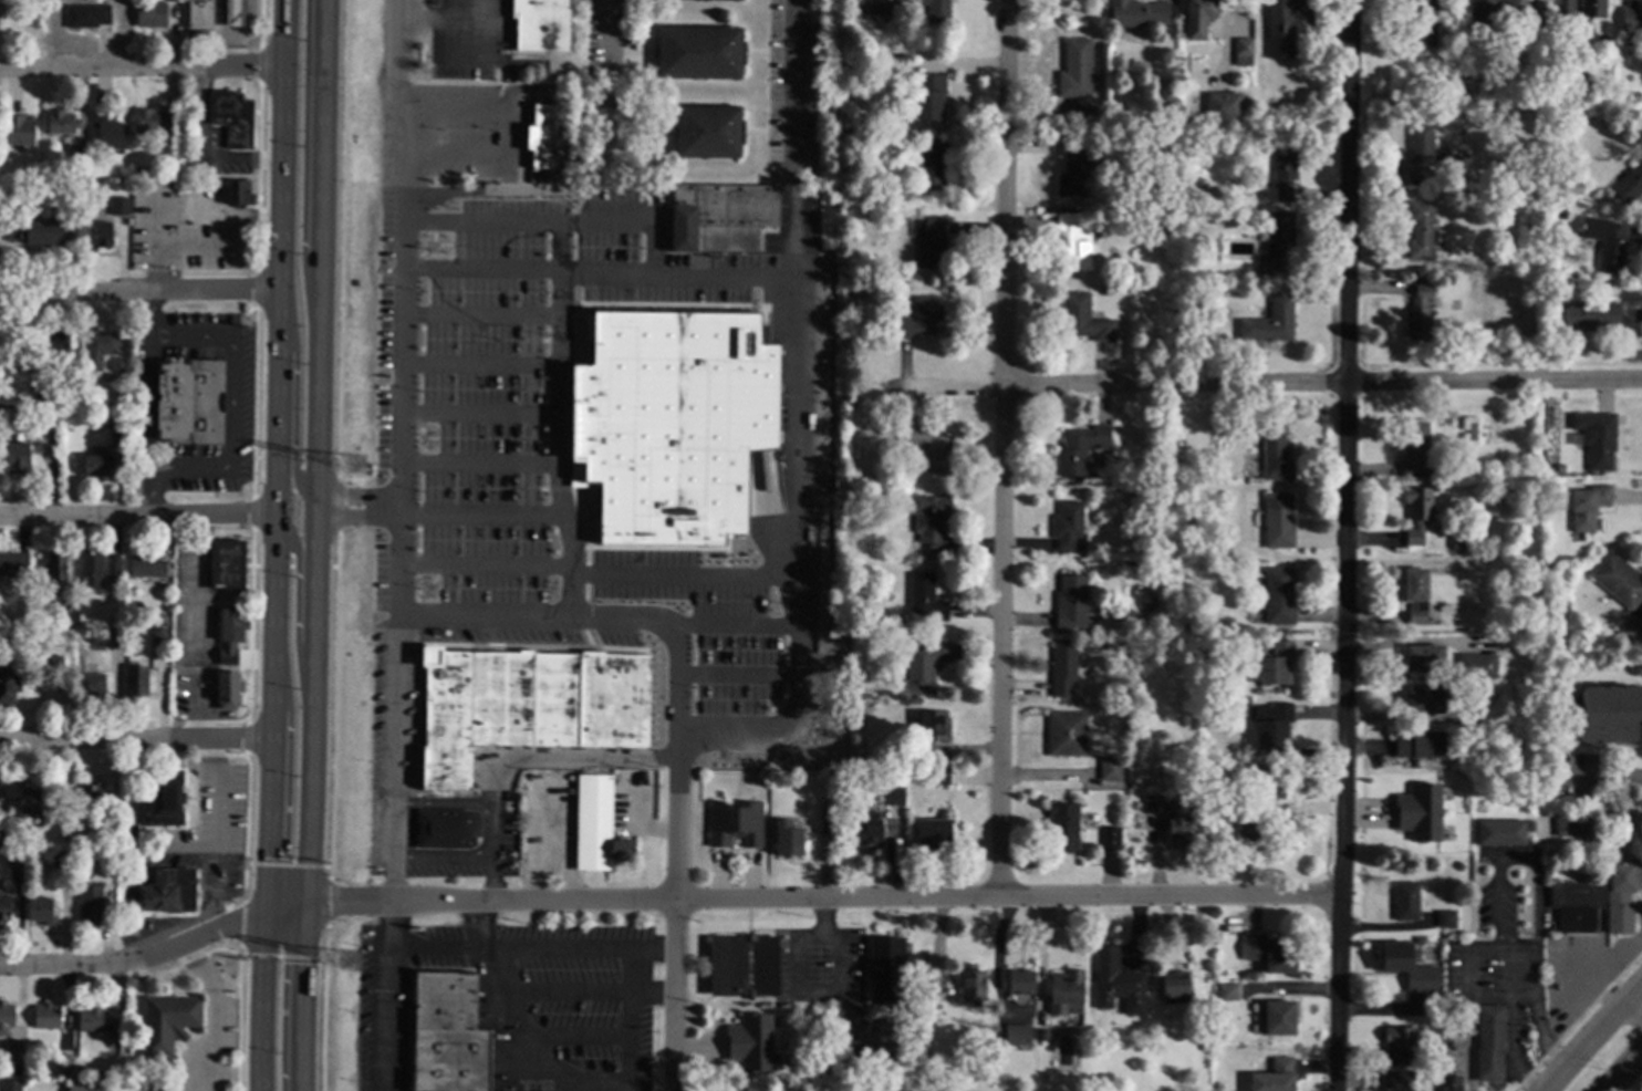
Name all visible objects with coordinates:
building: (728, 0)
building: (872, 7)
building: (1563, 7)
building: (1592, 8)
building: (937, 11)
road: (440, 12)
building: (1137, 12)
building: (1489, 12)
building: (149, 13)
building: (199, 13)
building: (235, 13)
building: (86, 15)
building: (1631, 15)
building: (1197, 17)
building: (1535, 17)
road: (418, 23)
building: (540, 23)
building: (1422, 24)
building: (1279, 29)
road: (221, 32)
building: (630, 39)
road: (395, 41)
parking lot: (467, 41)
road: (606, 50)
building: (698, 52)
building: (1243, 52)
road: (476, 55)
building: (1184, 60)
building: (855, 64)
road: (142, 65)
road: (259, 65)
building: (1075, 69)
building: (929, 96)
building: (1636, 97)
building: (1164, 104)
building: (1224, 105)
building: (231, 116)
building: (153, 121)
building: (60, 122)
building: (1172, 123)
building: (18, 128)
building: (107, 129)
building: (707, 131)
road: (503, 135)
building: (543, 135)
road: (798, 137)
building: (1423, 152)
building: (79, 157)
road: (302, 157)
building: (929, 163)
building: (1077, 168)
building: (145, 169)
building: (1531, 169)
building: (42, 172)
building: (1284, 173)
road: (560, 178)
building: (1629, 184)
building: (239, 193)
building: (1256, 195)
building: (1525, 201)
building: (118, 207)
building: (1173, 211)
building: (1559, 211)
building: (718, 217)
road: (554, 221)
building: (1258, 225)
building: (427, 226)
building: (41, 227)
building: (105, 229)
building: (1421, 230)
building: (927, 240)
building: (1279, 241)
building: (1074, 242)
road: (561, 247)
building: (1611, 249)
road: (279, 257)
road: (481, 270)
building: (1259, 270)
road: (679, 272)
building: (841, 278)
road: (256, 289)
road: (138, 292)
road: (403, 298)
building: (1418, 312)
road: (232, 314)
road: (481, 315)
building: (1590, 315)
road: (152, 316)
building: (922, 316)
building: (1084, 319)
building: (1270, 322)
road: (191, 340)
building: (58, 345)
building: (98, 347)
road: (481, 363)
road: (1248, 382)
building: (44, 394)
building: (28, 395)
building: (190, 402)
road: (148, 406)
road: (231, 407)
road: (481, 412)
building: (116, 413)
building: (45, 414)
road: (293, 414)
building: (672, 423)
building: (1470, 430)
building: (1597, 438)
building: (929, 446)
road: (1007, 447)
building: (1080, 448)
building: (1415, 449)
building: (1275, 453)
building: (17, 458)
power tower: (357, 464)
road: (481, 464)
building: (97, 465)
building: (1477, 467)
road: (190, 474)
road: (230, 493)
road: (357, 493)
road: (149, 496)
building: (1587, 506)
road: (251, 512)
road: (252, 512)
building: (1417, 512)
road: (357, 513)
building: (821, 513)
road: (481, 516)
road: (115, 518)
building: (821, 520)
building: (929, 520)
building: (1278, 520)
building: (1068, 526)
road: (564, 529)
building: (1459, 544)
road: (313, 545)
road: (1347, 545)
building: (13, 563)
building: (227, 564)
road: (796, 564)
building: (113, 565)
road: (485, 567)
building: (146, 568)
building: (55, 569)
building: (92, 570)
road: (682, 575)
building: (1618, 580)
building: (1415, 594)
building: (1278, 595)
building: (165, 596)
building: (925, 598)
building: (1071, 601)
road: (295, 604)
building: (168, 605)
building: (66, 615)
road: (728, 625)
building: (1140, 626)
building: (1631, 630)
building: (146, 635)
building: (231, 635)
building: (29, 636)
building: (160, 636)
building: (115, 640)
road: (673, 642)
building: (1261, 643)
building: (1103, 645)
building: (1425, 658)
building: (1275, 664)
building: (923, 665)
building: (1476, 665)
building: (1062, 668)
road: (735, 674)
building: (135, 682)
building: (91, 685)
building: (852, 685)
building: (9, 686)
building: (226, 689)
building: (1257, 689)
building: (1424, 699)
building: (1246, 700)
building: (524, 708)
building: (851, 714)
building: (1608, 714)
building: (1272, 724)
building: (934, 725)
building: (1066, 734)
road: (247, 738)
road: (136, 741)
building: (1418, 744)
building: (903, 748)
road: (562, 759)
building: (132, 768)
building: (1110, 768)
building: (936, 775)
road: (285, 778)
building: (1269, 780)
road: (1604, 780)
building: (615, 782)
building: (849, 788)
building: (890, 794)
building: (28, 798)
building: (89, 798)
building: (163, 798)
road: (269, 802)
road: (395, 802)
road: (444, 803)
building: (1152, 804)
building: (1418, 811)
building: (735, 822)
building: (1176, 822)
building: (1570, 822)
building: (827, 824)
building: (596, 825)
building: (1062, 827)
building: (444, 829)
building: (866, 829)
building: (933, 833)
building: (1499, 833)
building: (128, 838)
building: (787, 838)
building: (1255, 838)
building: (2, 839)
building: (1110, 839)
building: (83, 840)
road: (492, 853)
road: (1508, 856)
traffic signals: (268, 858)
road: (443, 858)
building: (18, 860)
building: (63, 860)
traffic signals: (283, 860)
road: (285, 865)
building: (166, 891)
building: (1621, 895)
road: (822, 897)
building: (1405, 901)
road: (326, 902)
traffic signals: (334, 902)
building: (92, 905)
building: (1576, 905)
building: (4, 908)
building: (40, 911)
building: (1445, 918)
building: (874, 923)
building: (128, 925)
road: (476, 925)
road: (674, 925)
traffic signals: (216, 932)
road: (437, 948)
road: (570, 948)
road: (661, 949)
road: (844, 953)
building: (1269, 953)
road: (156, 955)
road: (256, 955)
power tower: (349, 960)
traffic signals: (284, 964)
traffic signals: (301, 965)
building: (744, 965)
building: (1405, 965)
building: (885, 969)
road: (1466, 971)
building: (1020, 980)
building: (936, 981)
building: (1118, 981)
building: (971, 983)
building: (1174, 987)
building: (1227, 991)
building: (1064, 993)
road: (652, 994)
road: (282, 997)
building: (1451, 1011)
road: (214, 1014)
building: (45, 1015)
building: (6, 1017)
building: (1275, 1017)
road: (1634, 1018)
building: (95, 1019)
road: (630, 1019)
building: (172, 1026)
building: (1464, 1026)
building: (446, 1032)
building: (1041, 1033)
building: (1017, 1036)
building: (1399, 1037)
building: (749, 1041)
building: (1489, 1041)
road: (515, 1043)
road: (1597, 1043)
building: (14, 1053)
building: (1426, 1053)
building: (63, 1066)
road: (1622, 1070)
building: (1422, 1076)
building: (1274, 1077)
building: (1396, 1081)
building: (150, 1082)
building: (1448, 1082)
building: (10, 1084)
building: (83, 1087)
building: (804, 1087)
building: (822, 1090)

